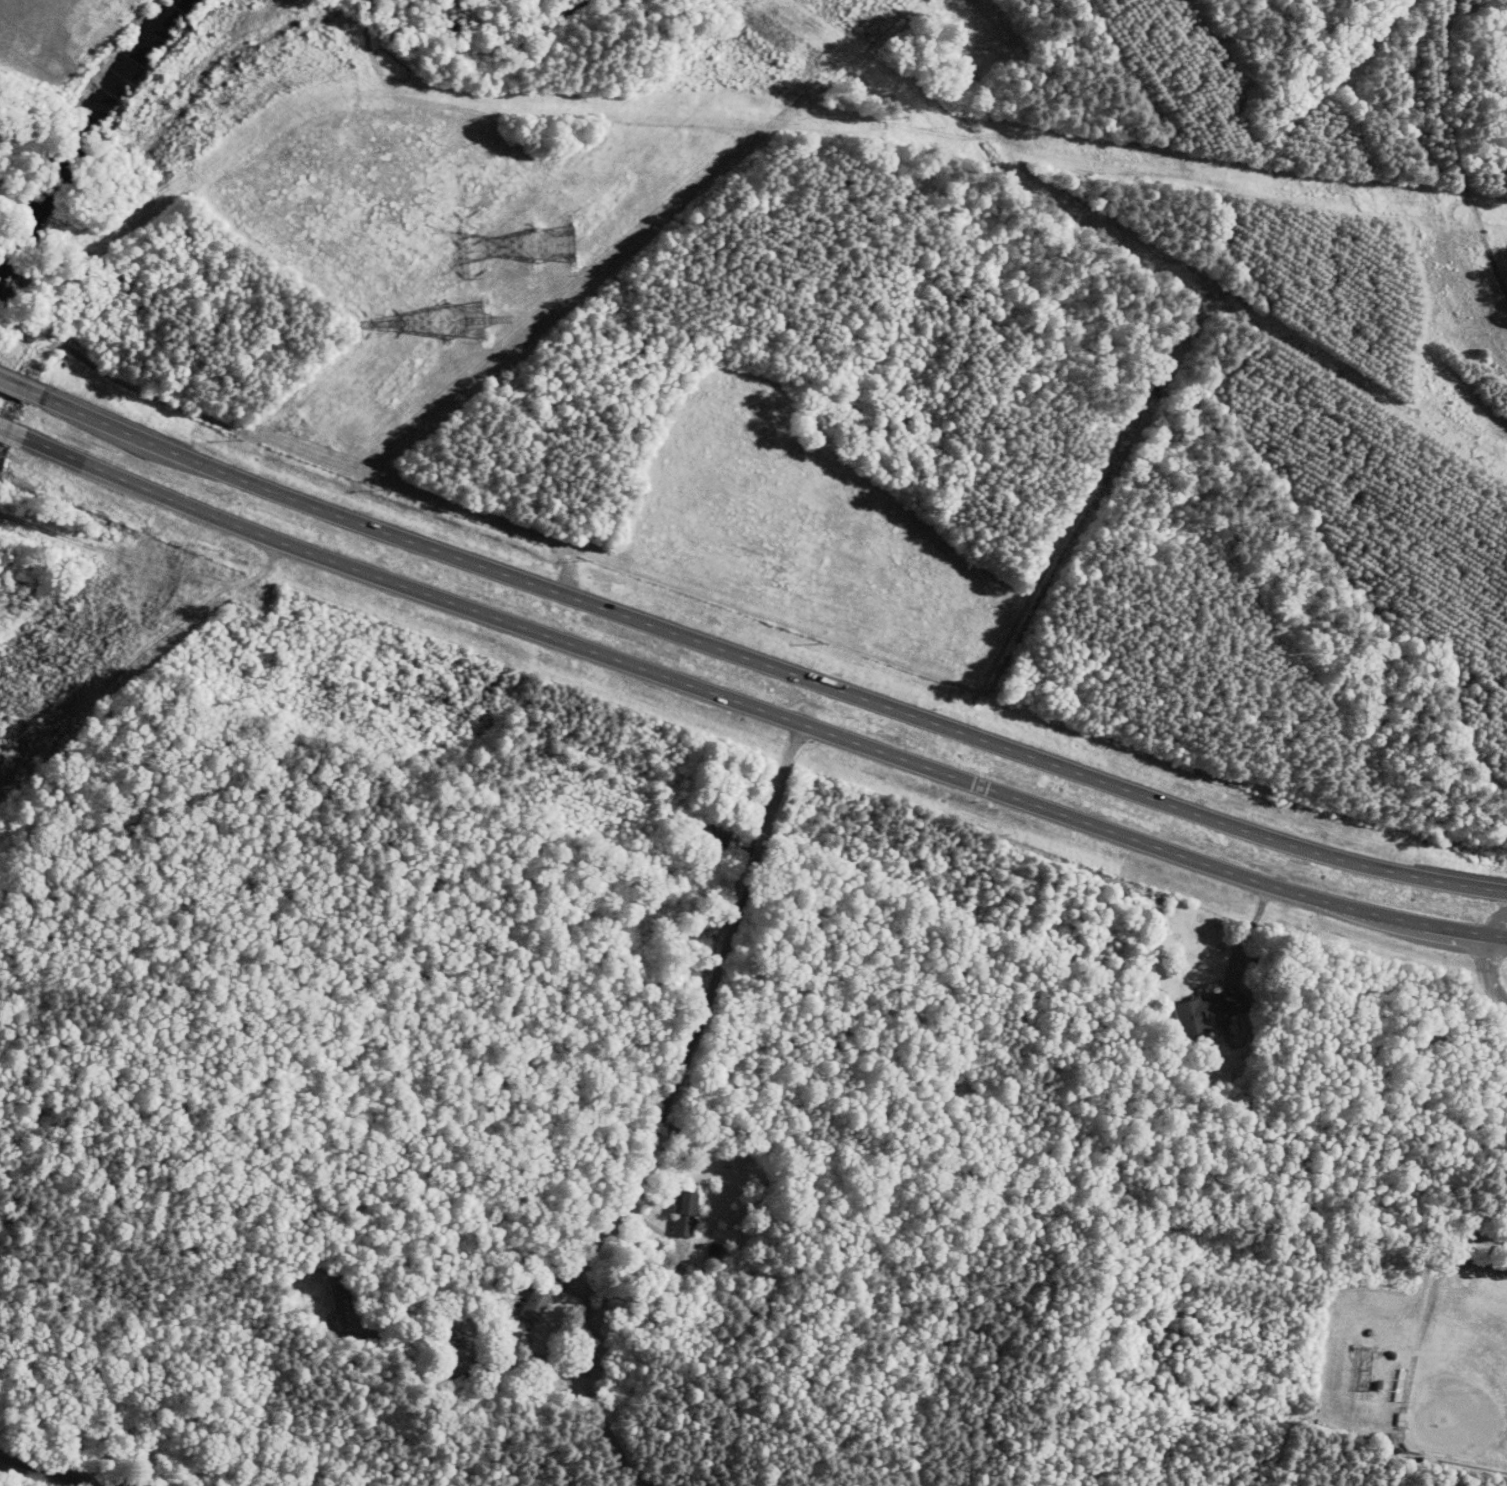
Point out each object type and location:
power tower: (563, 250)
power tower: (475, 324)
road: (20, 384)
road: (12, 432)
road: (766, 664)
road: (758, 710)
road: (1494, 920)
road: (1249, 931)
road: (1487, 971)
road: (704, 1007)
building: (1209, 1010)
building: (686, 1213)
building: (536, 1304)
building: (338, 1306)
road: (500, 1361)
park: (1464, 1373)
road: (601, 1421)
railway: (47, 1471)

